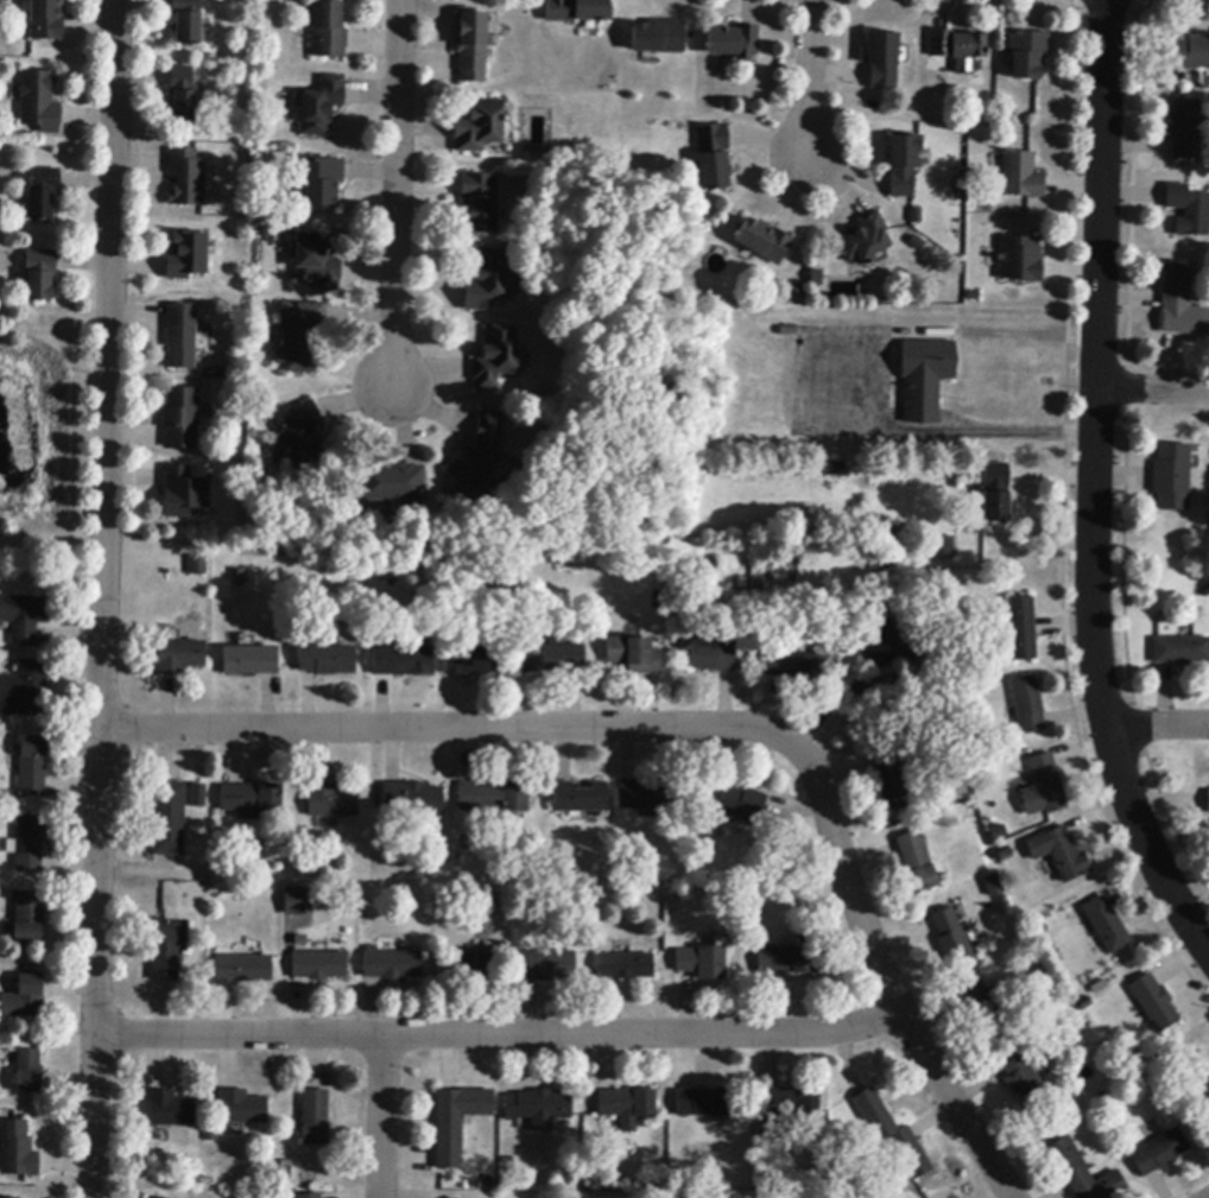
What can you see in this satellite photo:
building: (578, 11)
building: (45, 19)
building: (186, 21)
building: (329, 31)
building: (659, 37)
building: (734, 43)
building: (471, 44)
building: (958, 49)
building: (1028, 55)
building: (1190, 55)
building: (884, 61)
road: (810, 74)
building: (183, 96)
building: (40, 102)
building: (319, 107)
building: (480, 126)
building: (1184, 129)
building: (714, 158)
building: (905, 165)
building: (1020, 177)
building: (186, 178)
building: (324, 182)
road: (397, 191)
building: (43, 194)
building: (480, 203)
building: (1188, 210)
building: (865, 240)
building: (765, 241)
building: (188, 256)
building: (1020, 260)
building: (316, 264)
building: (40, 274)
building: (817, 278)
building: (486, 279)
building: (795, 290)
building: (1180, 304)
building: (790, 331)
building: (181, 336)
building: (300, 336)
building: (496, 357)
road: (831, 375)
building: (925, 378)
road: (1153, 387)
building: (181, 418)
park: (45, 425)
building: (300, 435)
building: (479, 456)
building: (836, 470)
building: (1172, 477)
building: (392, 483)
road: (1095, 489)
building: (183, 493)
building: (995, 493)
building: (942, 547)
building: (198, 566)
building: (240, 577)
road: (102, 598)
building: (659, 601)
building: (24, 617)
building: (1023, 629)
building: (893, 646)
building: (1180, 651)
building: (633, 655)
building: (713, 655)
building: (179, 657)
building: (553, 658)
building: (249, 660)
building: (328, 660)
building: (476, 660)
building: (403, 661)
building: (793, 664)
building: (25, 691)
road: (843, 691)
building: (1027, 704)
road: (1157, 725)
road: (702, 731)
building: (33, 765)
building: (891, 782)
building: (1043, 788)
building: (198, 796)
building: (646, 796)
building: (494, 798)
building: (580, 798)
building: (251, 799)
building: (412, 800)
building: (331, 801)
building: (1208, 803)
building: (740, 805)
building: (169, 819)
building: (29, 843)
building: (1059, 854)
building: (1004, 855)
building: (916, 863)
building: (993, 886)
building: (293, 899)
building: (29, 919)
building: (1107, 925)
building: (951, 939)
building: (166, 950)
building: (786, 961)
building: (703, 962)
building: (319, 965)
building: (392, 965)
building: (549, 965)
building: (469, 966)
building: (626, 966)
building: (245, 969)
building: (25, 999)
building: (1154, 1003)
building: (981, 1008)
road: (498, 1034)
building: (29, 1072)
building: (1023, 1080)
building: (1205, 1085)
building: (791, 1102)
building: (703, 1103)
building: (627, 1107)
building: (242, 1108)
building: (539, 1108)
building: (170, 1109)
building: (316, 1117)
road: (382, 1117)
building: (457, 1122)
building: (771, 1129)
building: (892, 1134)
building: (18, 1151)
building: (1159, 1153)
building: (1083, 1174)
building: (311, 1196)
building: (6, 1197)
building: (153, 1197)
building: (455, 1197)

